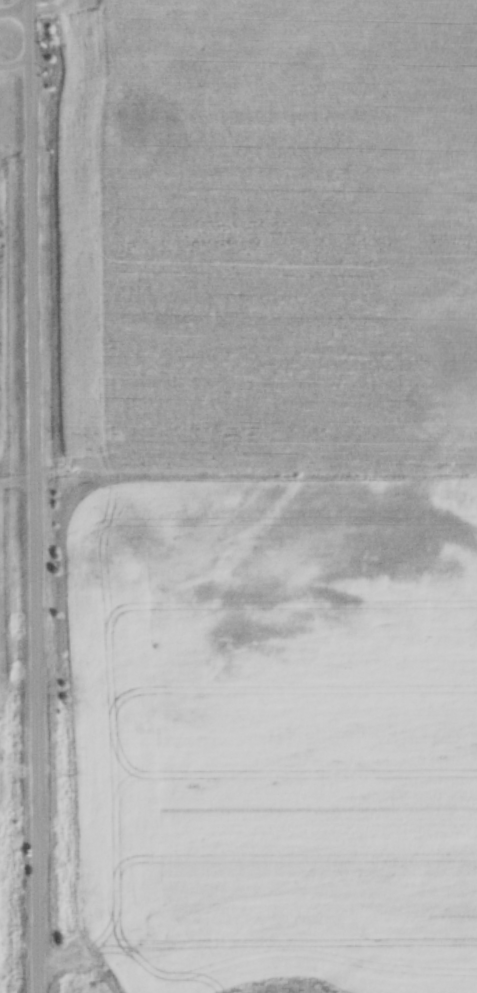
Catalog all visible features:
road: (41, 9)
road: (7, 10)
road: (16, 496)

